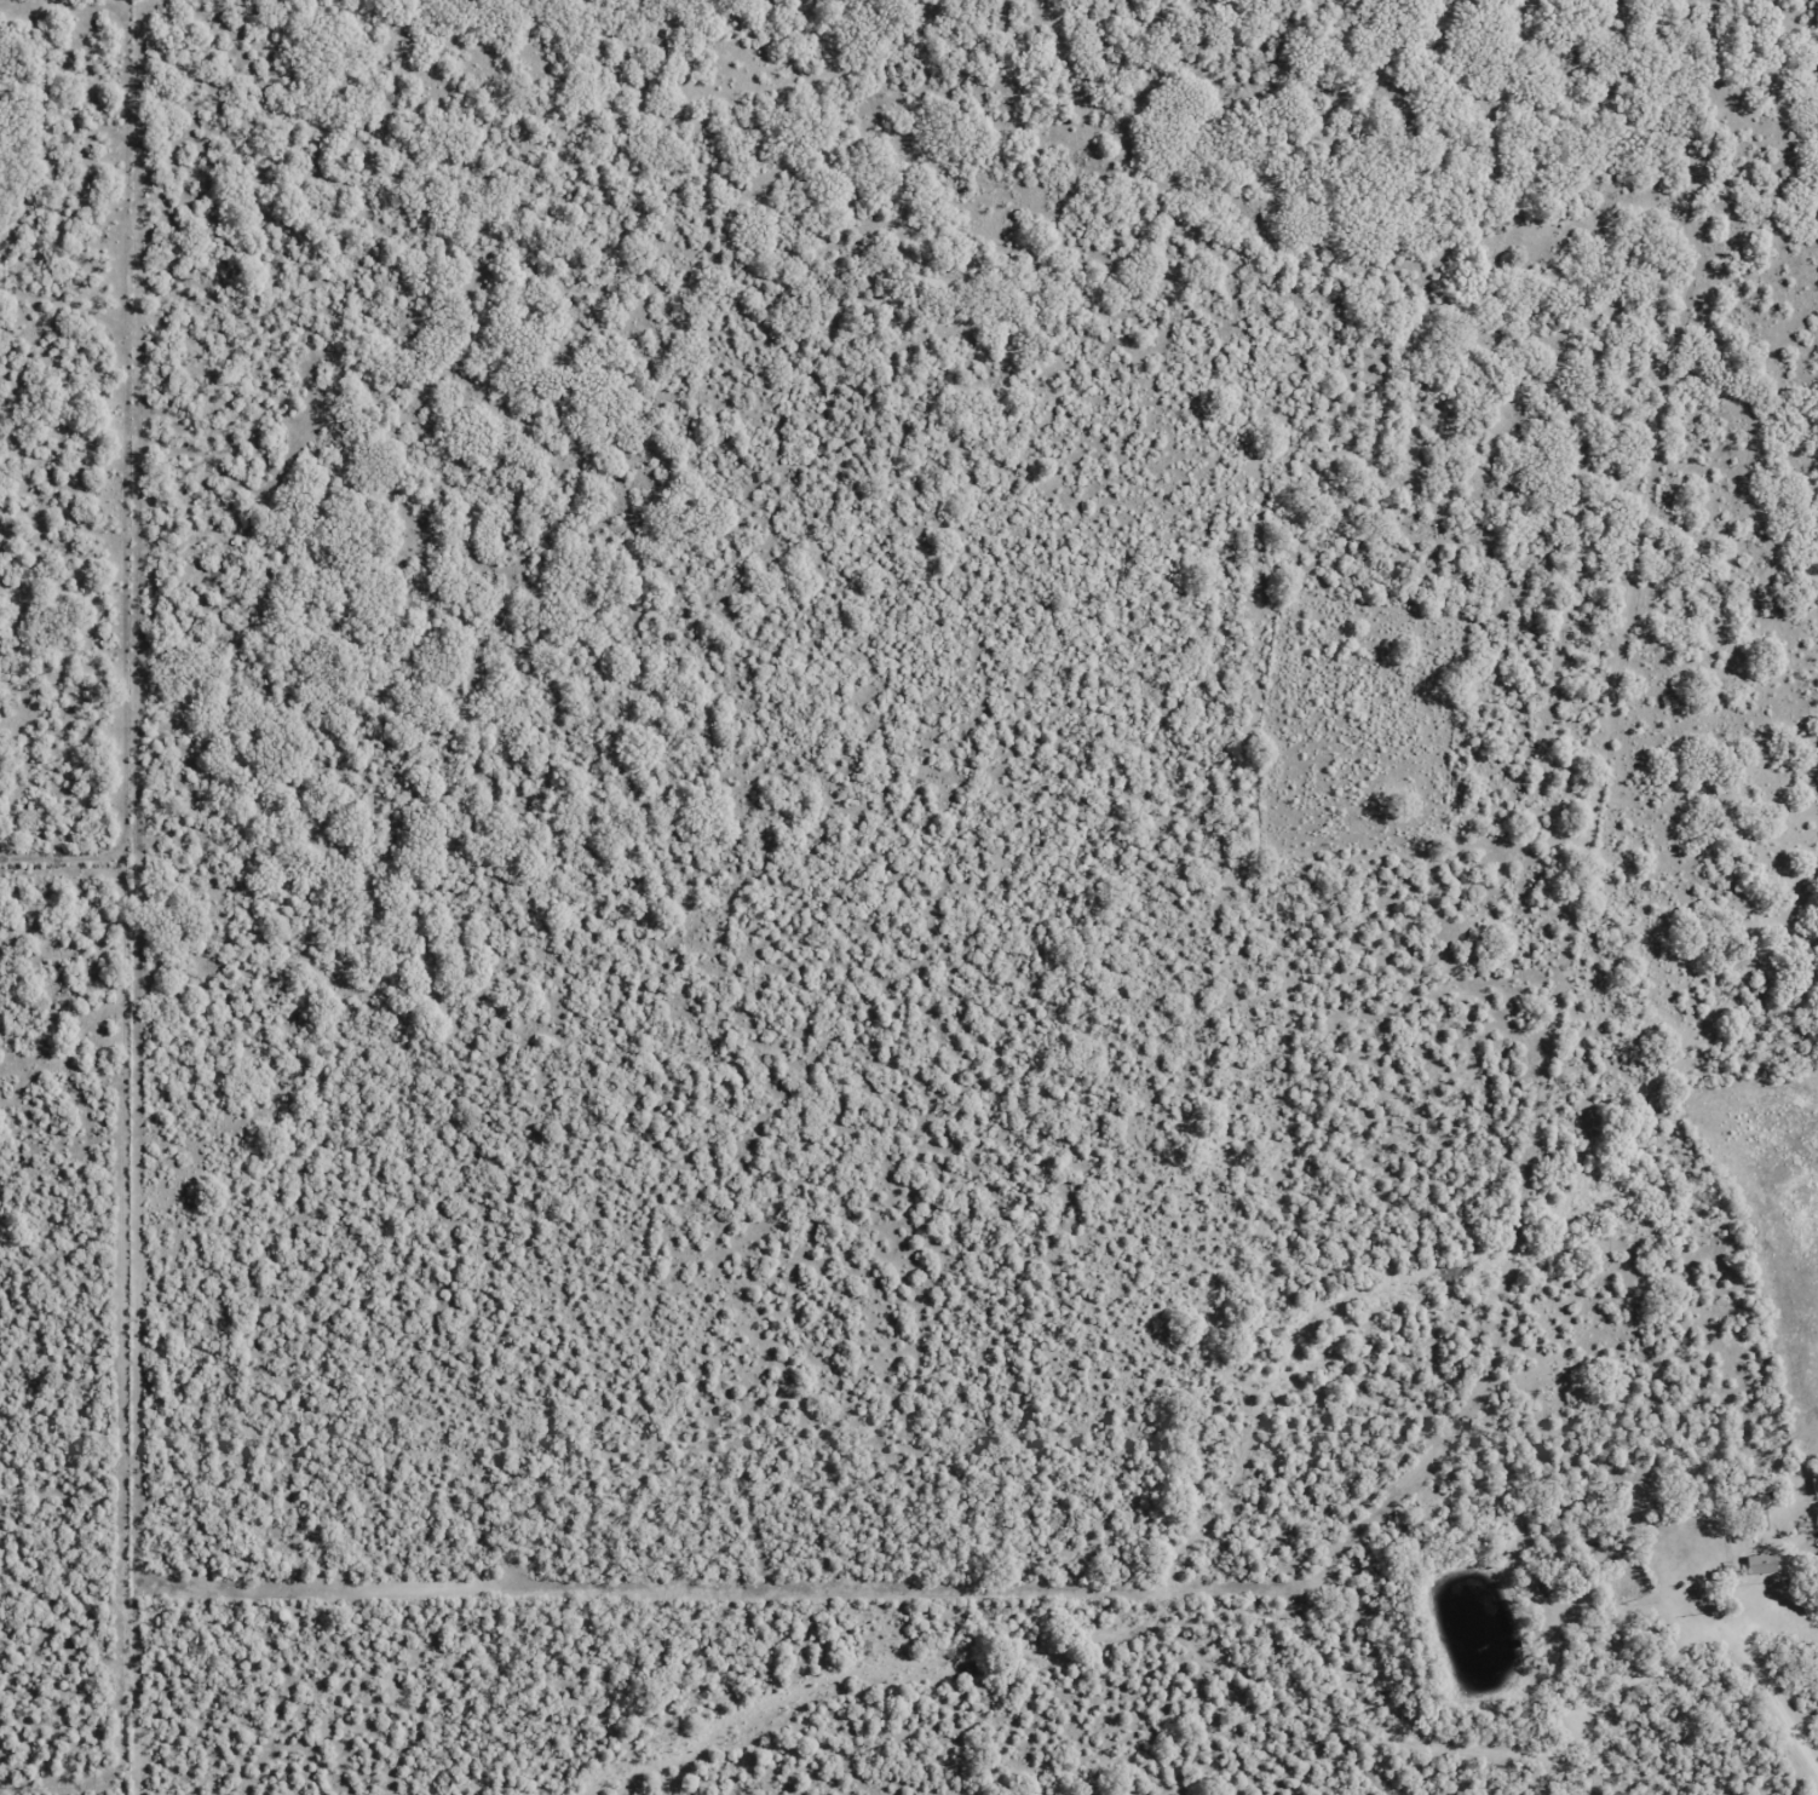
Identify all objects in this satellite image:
building: (1760, 1561)
road: (1772, 1697)

